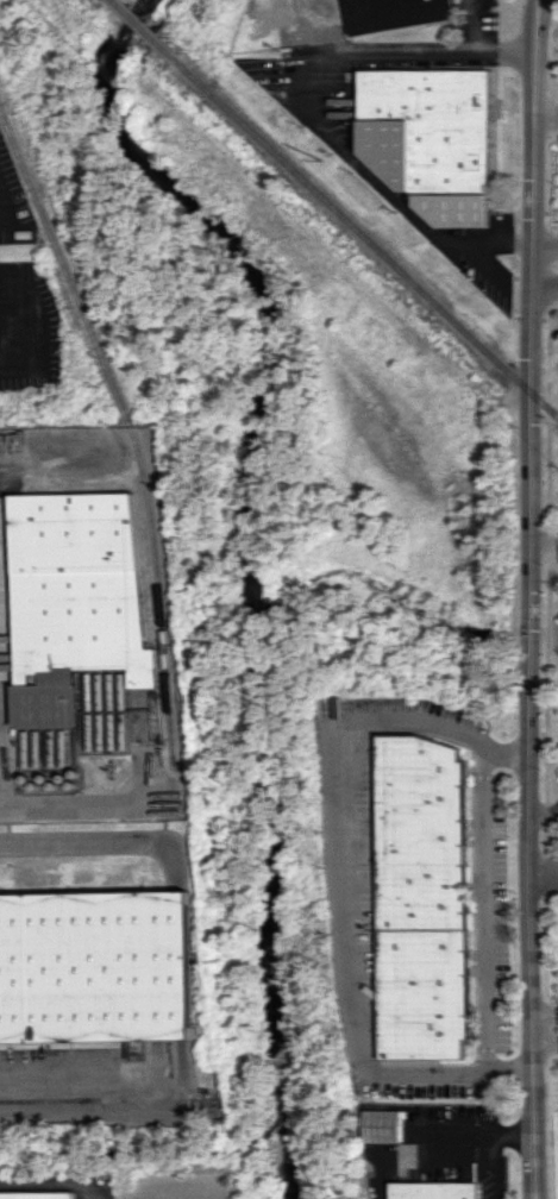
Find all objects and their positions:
building: (389, 13)
road: (319, 24)
road: (472, 25)
road: (534, 26)
railway: (144, 30)
road: (301, 108)
road: (545, 115)
building: (424, 137)
railway: (366, 240)
road: (544, 247)
road: (544, 283)
road: (10, 326)
railway: (108, 371)
road: (7, 469)
road: (544, 533)
building: (74, 599)
road: (529, 626)
building: (102, 709)
road: (402, 722)
road: (506, 751)
road: (74, 804)
road: (545, 814)
road: (100, 839)
road: (544, 875)
building: (421, 898)
building: (95, 966)
road: (545, 1031)
building: (125, 1052)
road: (420, 1069)
road: (506, 1071)
road: (165, 1093)
building: (380, 1125)
road: (490, 1147)
road: (52, 1182)
building: (431, 1191)
building: (37, 1195)

